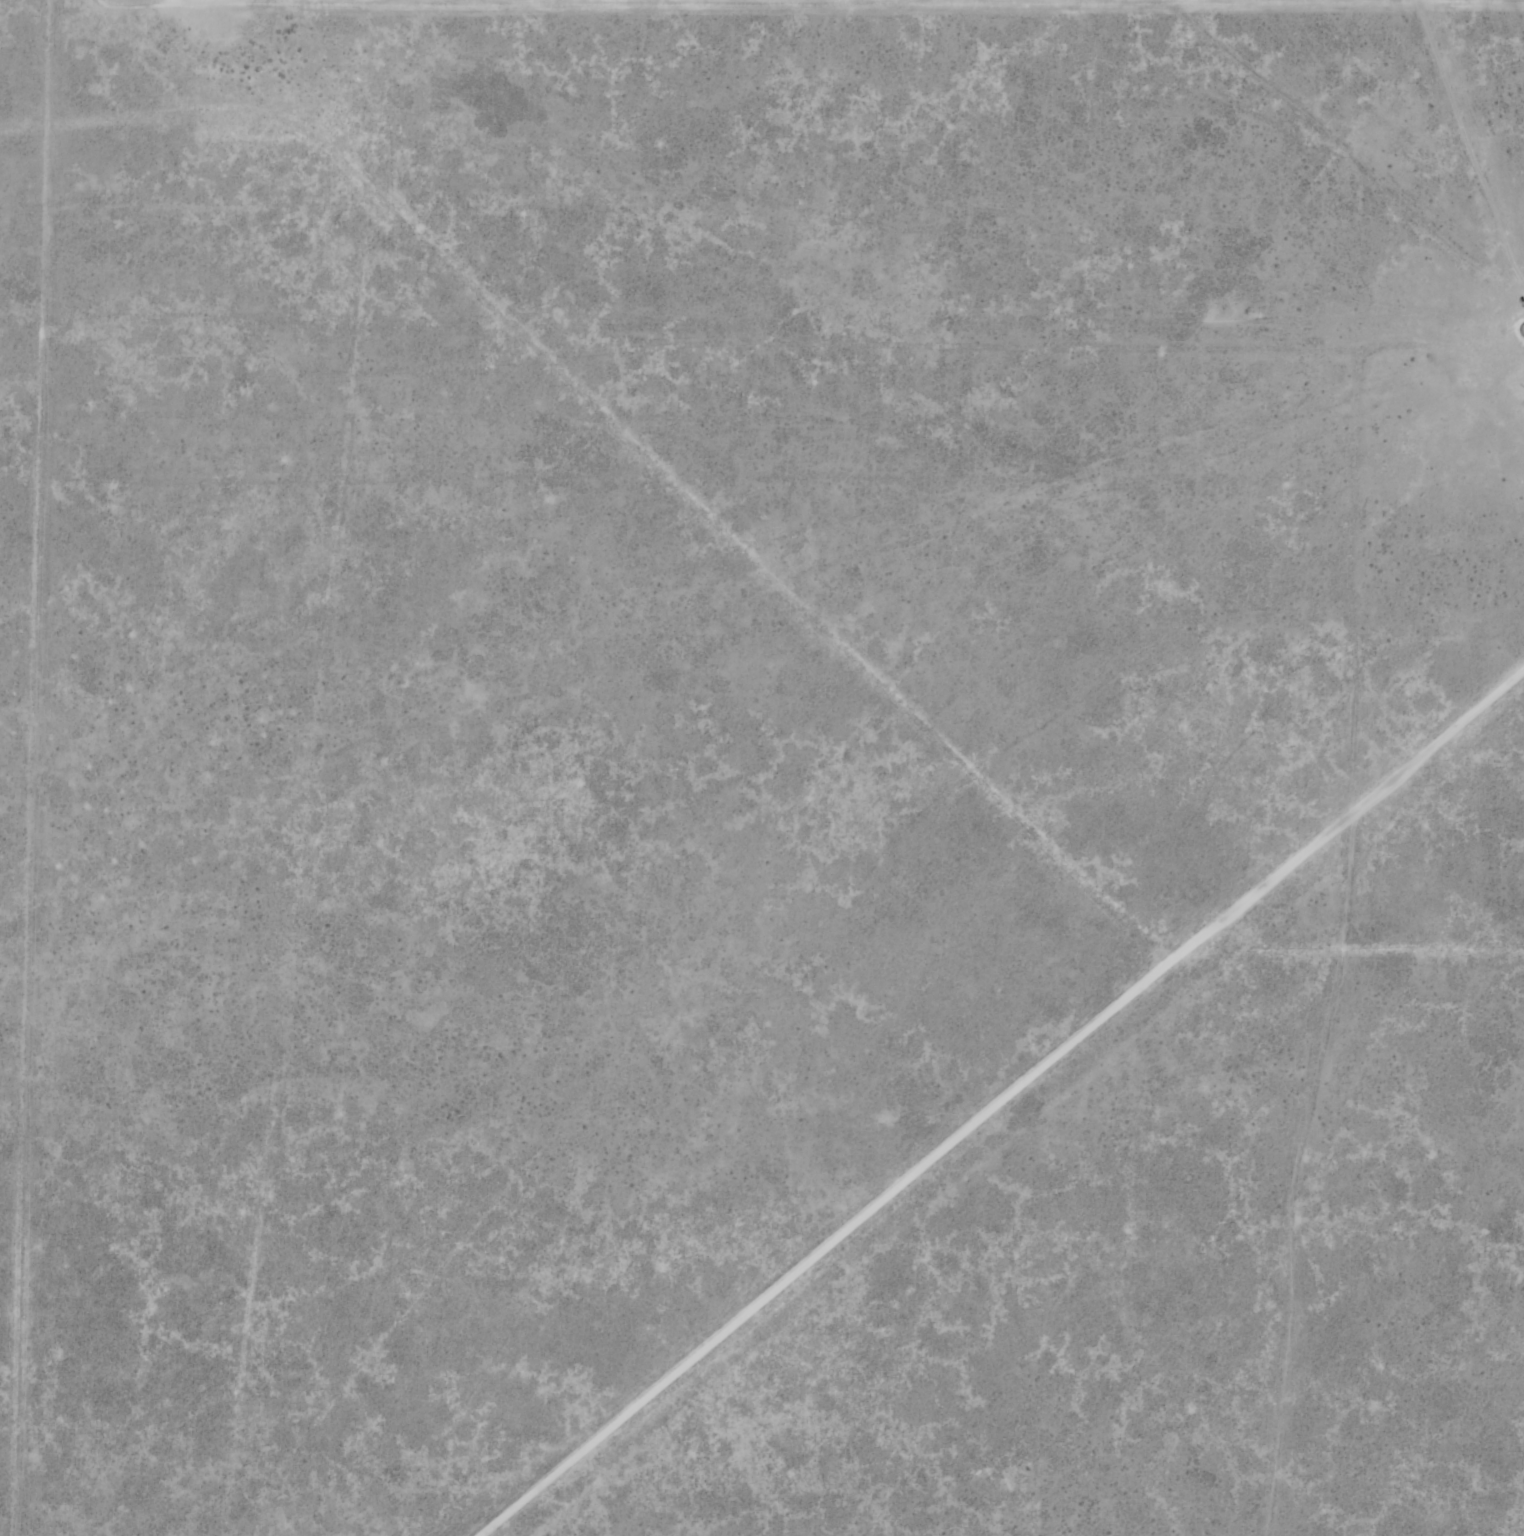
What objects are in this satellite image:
road: (1277, 126)
road: (1444, 180)
road: (1085, 1050)
road: (713, 1363)

